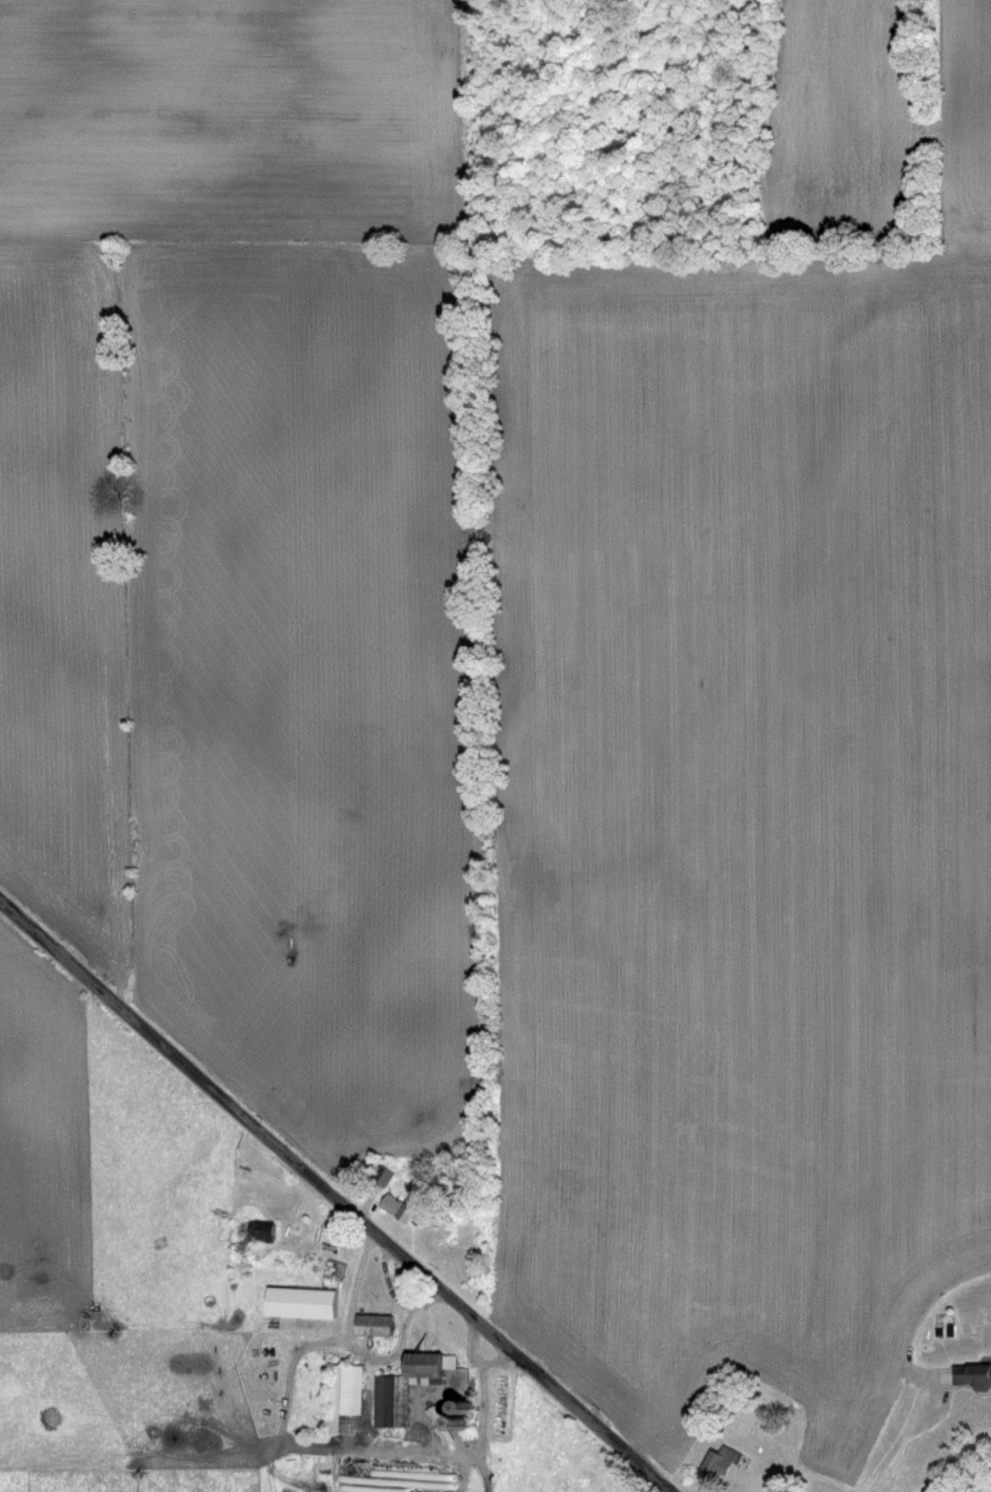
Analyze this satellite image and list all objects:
road: (16, 917)
building: (380, 1177)
building: (393, 1208)
road: (351, 1211)
building: (258, 1232)
building: (296, 1303)
building: (370, 1325)
building: (970, 1375)
building: (405, 1387)
road: (926, 1390)
building: (344, 1393)
building: (455, 1417)
building: (720, 1462)
road: (883, 1463)

